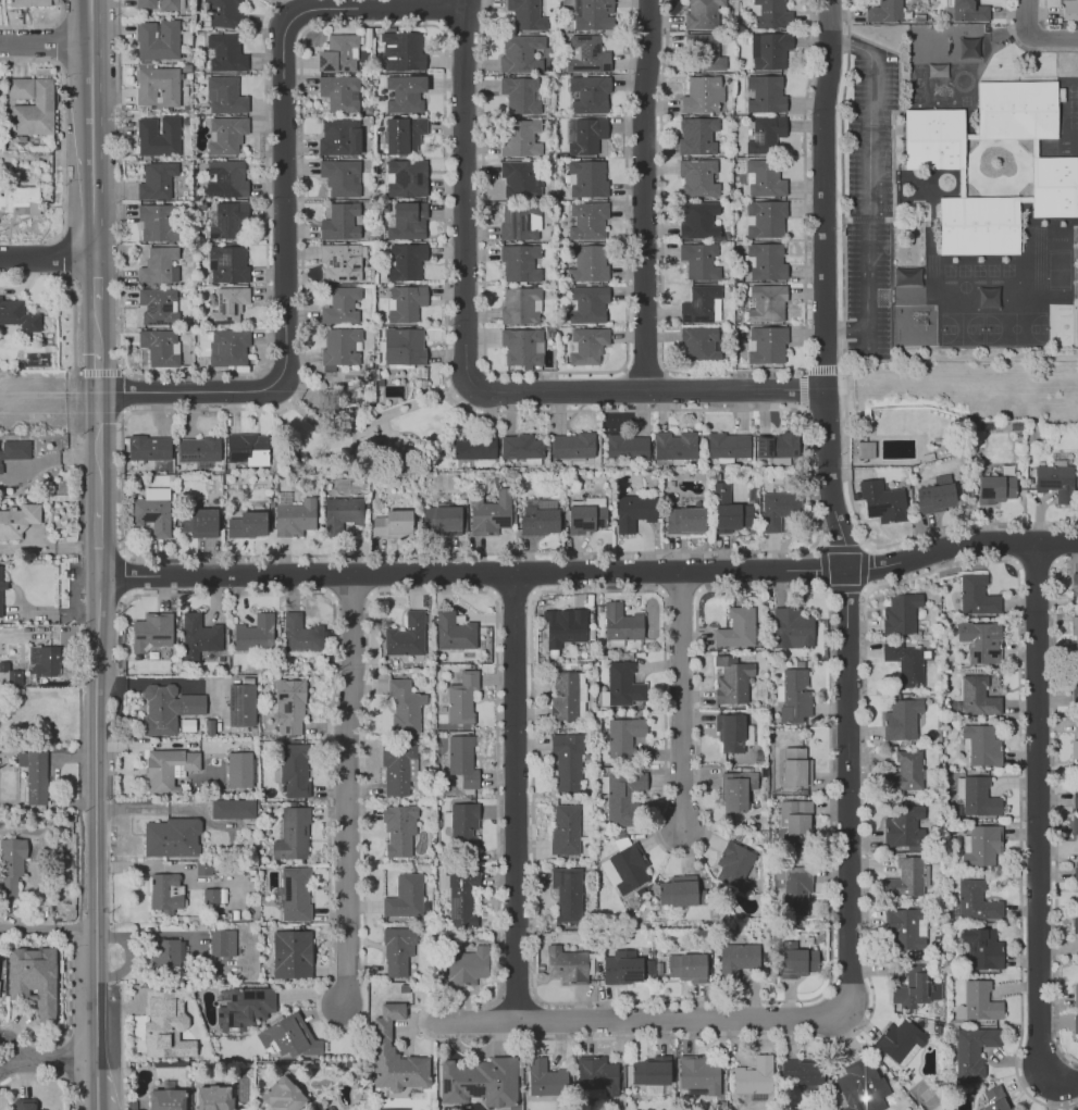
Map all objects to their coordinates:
building: (30, 2)
building: (157, 3)
building: (1070, 10)
building: (884, 11)
building: (965, 11)
building: (225, 13)
building: (771, 13)
building: (525, 14)
building: (702, 14)
building: (594, 15)
building: (920, 17)
road: (1027, 17)
road: (1044, 18)
road: (88, 22)
road: (38, 25)
road: (1008, 30)
road: (1052, 38)
building: (157, 39)
road: (45, 42)
building: (768, 49)
road: (1054, 49)
building: (404, 50)
building: (705, 51)
building: (224, 52)
building: (519, 53)
building: (338, 54)
building: (586, 54)
building: (157, 86)
building: (339, 92)
building: (405, 93)
building: (520, 93)
building: (588, 93)
building: (764, 93)
building: (224, 95)
building: (703, 95)
building: (30, 105)
road: (89, 105)
road: (61, 129)
building: (766, 133)
building: (226, 134)
building: (404, 135)
building: (157, 136)
building: (587, 136)
building: (698, 136)
building: (338, 137)
building: (520, 138)
building: (933, 161)
building: (340, 176)
building: (587, 177)
building: (697, 177)
building: (228, 178)
building: (405, 179)
building: (519, 179)
building: (764, 179)
building: (156, 180)
road: (867, 188)
road: (644, 196)
parking lot: (868, 198)
building: (20, 200)
road: (283, 201)
road: (90, 212)
road: (842, 217)
building: (227, 220)
building: (699, 220)
building: (765, 220)
building: (408, 221)
building: (586, 221)
building: (158, 222)
building: (339, 222)
building: (520, 223)
building: (1075, 241)
road: (48, 258)
building: (406, 260)
building: (699, 261)
building: (340, 262)
building: (520, 262)
building: (766, 262)
building: (587, 263)
building: (158, 264)
building: (227, 264)
road: (98, 277)
building: (405, 302)
building: (766, 303)
building: (519, 304)
building: (701, 304)
building: (157, 305)
building: (228, 305)
building: (340, 305)
building: (587, 305)
building: (17, 315)
road: (97, 325)
building: (699, 344)
building: (586, 345)
building: (767, 345)
building: (159, 346)
building: (339, 346)
building: (521, 346)
building: (227, 347)
building: (404, 347)
road: (466, 369)
road: (97, 372)
power tower: (327, 402)
road: (365, 424)
road: (388, 428)
park: (367, 437)
building: (572, 445)
building: (674, 445)
building: (727, 445)
building: (782, 445)
building: (520, 447)
building: (14, 448)
building: (148, 448)
building: (475, 448)
building: (625, 448)
building: (198, 449)
building: (247, 449)
building: (865, 450)
road: (99, 451)
building: (299, 460)
building: (1054, 481)
building: (996, 488)
building: (935, 498)
building: (880, 500)
road: (833, 506)
building: (729, 509)
building: (778, 509)
building: (633, 511)
building: (342, 513)
building: (488, 513)
building: (150, 515)
building: (295, 517)
building: (585, 519)
building: (17, 520)
building: (443, 520)
building: (538, 521)
building: (686, 521)
building: (198, 522)
building: (246, 523)
building: (393, 523)
road: (916, 537)
road: (101, 544)
road: (867, 548)
road: (863, 549)
road: (591, 573)
building: (1074, 585)
building: (2, 586)
building: (976, 596)
building: (0, 599)
building: (901, 615)
building: (620, 623)
building: (1074, 625)
building: (567, 627)
building: (736, 627)
building: (790, 628)
building: (151, 631)
building: (453, 631)
building: (255, 634)
building: (301, 635)
building: (198, 636)
building: (406, 636)
building: (980, 641)
building: (48, 662)
building: (904, 663)
building: (732, 679)
building: (623, 685)
building: (461, 697)
building: (563, 697)
building: (794, 697)
road: (681, 698)
building: (977, 698)
building: (241, 704)
building: (289, 704)
building: (405, 706)
building: (166, 708)
building: (901, 719)
building: (187, 725)
building: (209, 727)
building: (729, 732)
building: (623, 735)
building: (982, 744)
building: (1074, 749)
building: (461, 759)
building: (567, 761)
building: (795, 766)
building: (396, 768)
building: (168, 769)
building: (238, 769)
building: (293, 769)
building: (905, 771)
building: (33, 775)
building: (733, 789)
road: (347, 790)
road: (513, 797)
building: (622, 797)
building: (979, 797)
building: (1075, 797)
building: (232, 809)
road: (95, 815)
building: (795, 819)
road: (1037, 824)
building: (1075, 824)
building: (463, 825)
building: (904, 826)
building: (399, 827)
building: (565, 830)
building: (293, 834)
building: (172, 837)
building: (982, 847)
building: (10, 865)
building: (734, 865)
building: (202, 866)
building: (629, 869)
building: (1076, 875)
building: (905, 878)
building: (795, 889)
building: (681, 891)
building: (165, 893)
building: (295, 894)
building: (567, 894)
building: (213, 896)
building: (405, 896)
building: (461, 898)
building: (976, 901)
building: (1075, 924)
building: (905, 928)
road: (47, 931)
building: (221, 943)
building: (982, 948)
building: (397, 949)
building: (290, 953)
building: (165, 957)
building: (738, 959)
building: (796, 960)
building: (469, 965)
building: (566, 965)
building: (621, 968)
building: (686, 968)
building: (33, 978)
building: (915, 987)
building: (1076, 995)
building: (979, 1001)
building: (245, 1007)
road: (639, 1020)
building: (1075, 1024)
building: (165, 1025)
building: (288, 1036)
building: (900, 1042)
building: (972, 1050)
building: (395, 1055)
road: (48, 1060)
building: (650, 1071)
building: (699, 1072)
building: (803, 1073)
building: (596, 1074)
building: (754, 1076)
building: (545, 1078)
building: (479, 1081)
road: (96, 1083)
building: (862, 1084)
building: (282, 1096)
building: (214, 1098)
building: (165, 1099)
building: (992, 1099)
building: (23, 1105)
building: (327, 1108)
building: (322, 1109)

